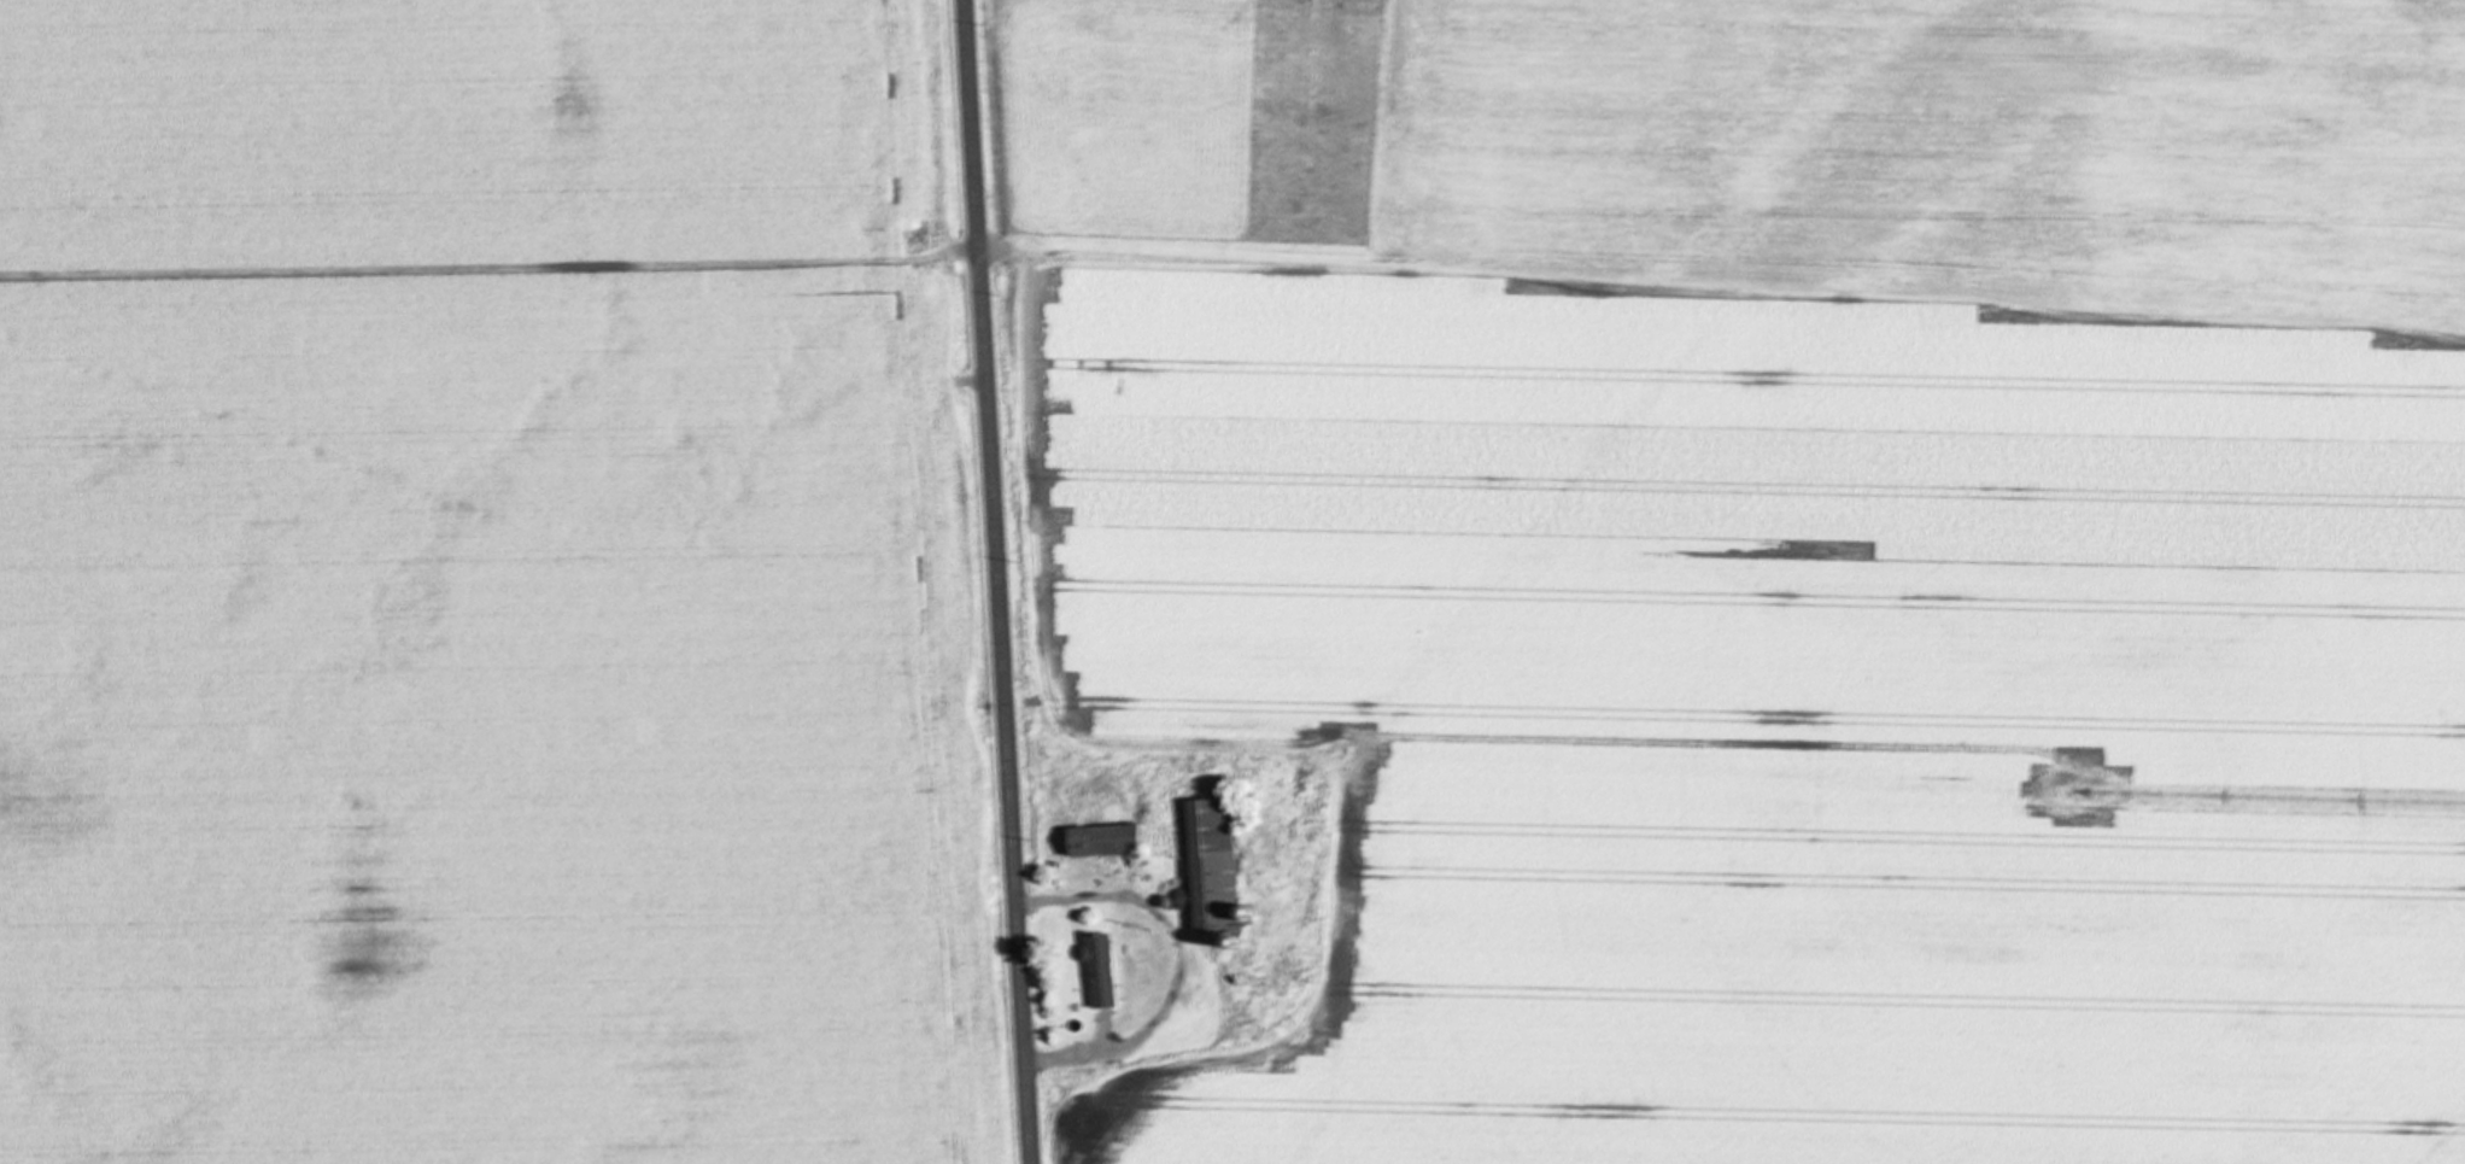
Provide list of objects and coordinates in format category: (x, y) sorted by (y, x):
road: (993, 581)
building: (1107, 840)
building: (1213, 864)
road: (1175, 964)
building: (1102, 971)

